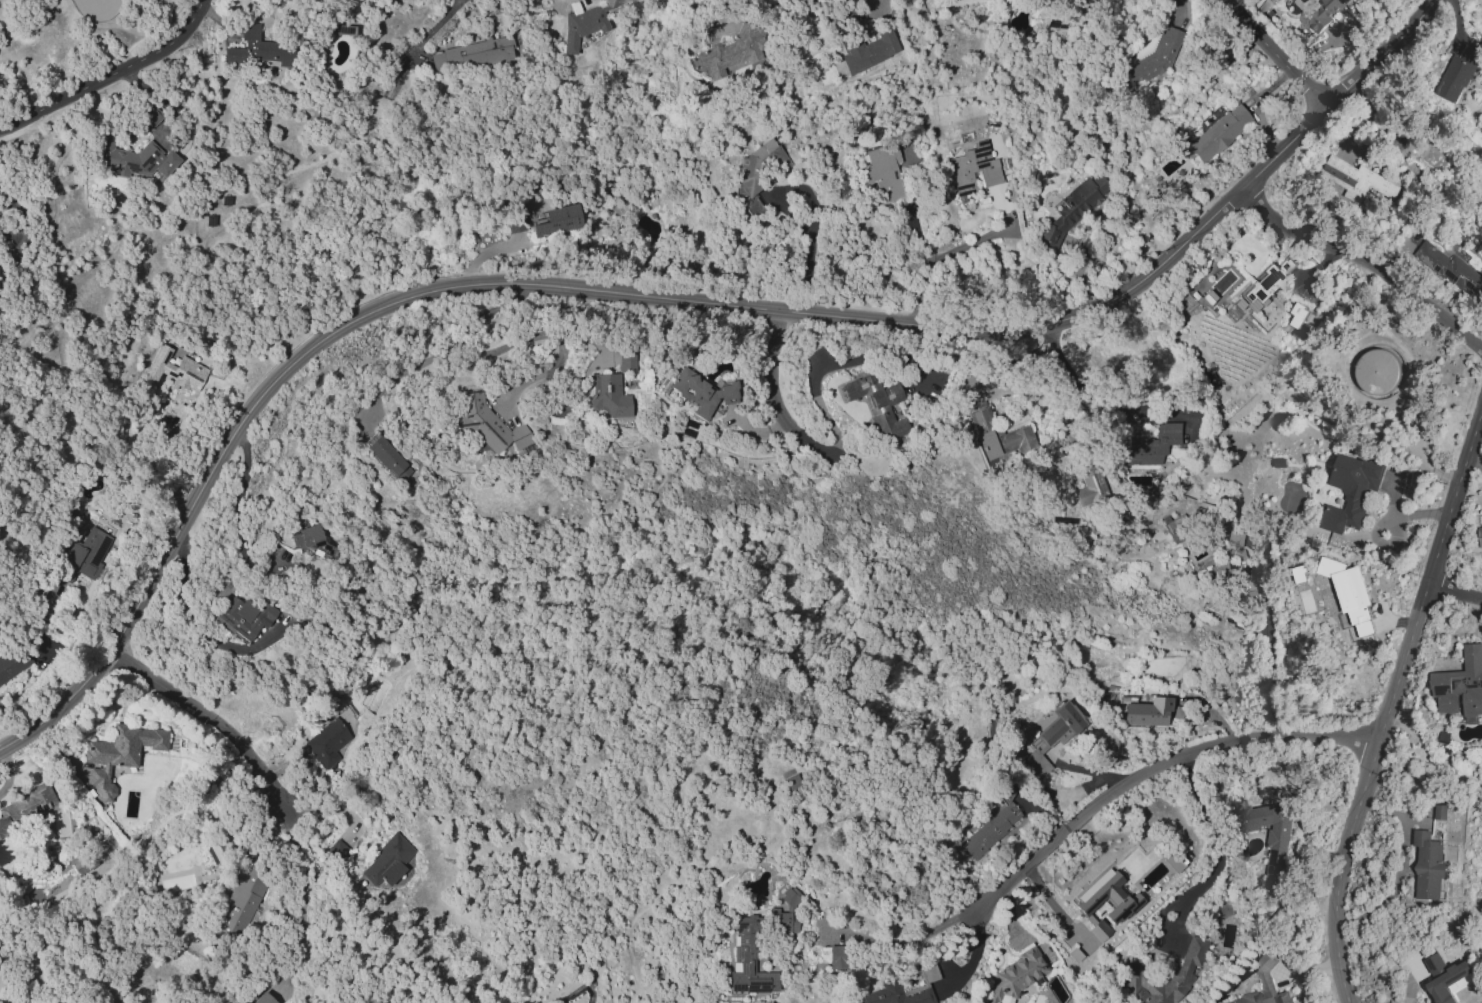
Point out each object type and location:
road: (735, 1)
road: (875, 3)
building: (1324, 13)
building: (589, 24)
road: (431, 29)
building: (258, 48)
building: (732, 51)
building: (868, 51)
road: (1277, 53)
building: (472, 55)
building: (1156, 57)
road: (113, 76)
building: (1457, 76)
road: (1254, 107)
building: (1218, 133)
building: (134, 159)
building: (972, 169)
building: (757, 171)
building: (883, 172)
building: (1359, 181)
building: (1072, 208)
building: (558, 221)
road: (917, 237)
road: (986, 237)
road: (485, 252)
road: (1366, 259)
building: (1450, 269)
building: (1264, 284)
road: (921, 294)
road: (669, 296)
building: (1300, 317)
road: (443, 350)
building: (627, 361)
road: (831, 365)
building: (178, 370)
building: (1377, 372)
road: (1089, 391)
building: (701, 392)
building: (609, 395)
road: (772, 395)
building: (877, 404)
building: (487, 424)
road: (753, 430)
building: (996, 436)
building: (1151, 446)
building: (386, 456)
building: (1089, 487)
building: (1350, 493)
road: (1412, 514)
road: (235, 520)
building: (1480, 536)
building: (309, 539)
building: (83, 555)
building: (1242, 575)
road: (1456, 592)
building: (1349, 593)
building: (243, 618)
road: (196, 627)
building: (13, 662)
road: (1270, 674)
building: (1461, 686)
road: (1391, 702)
building: (1142, 712)
road: (212, 718)
building: (332, 738)
building: (118, 754)
road: (1153, 768)
building: (25, 806)
road: (329, 808)
building: (1440, 813)
building: (993, 824)
road: (1211, 834)
building: (1278, 838)
building: (337, 851)
building: (388, 860)
building: (81, 863)
building: (1428, 866)
road: (304, 898)
building: (243, 899)
building: (1105, 900)
building: (1220, 909)
building: (784, 915)
building: (1098, 931)
road: (909, 940)
building: (835, 956)
building: (748, 960)
building: (1188, 967)
building: (1016, 975)
building: (1444, 978)
building: (889, 983)
building: (1262, 984)
building: (263, 998)

